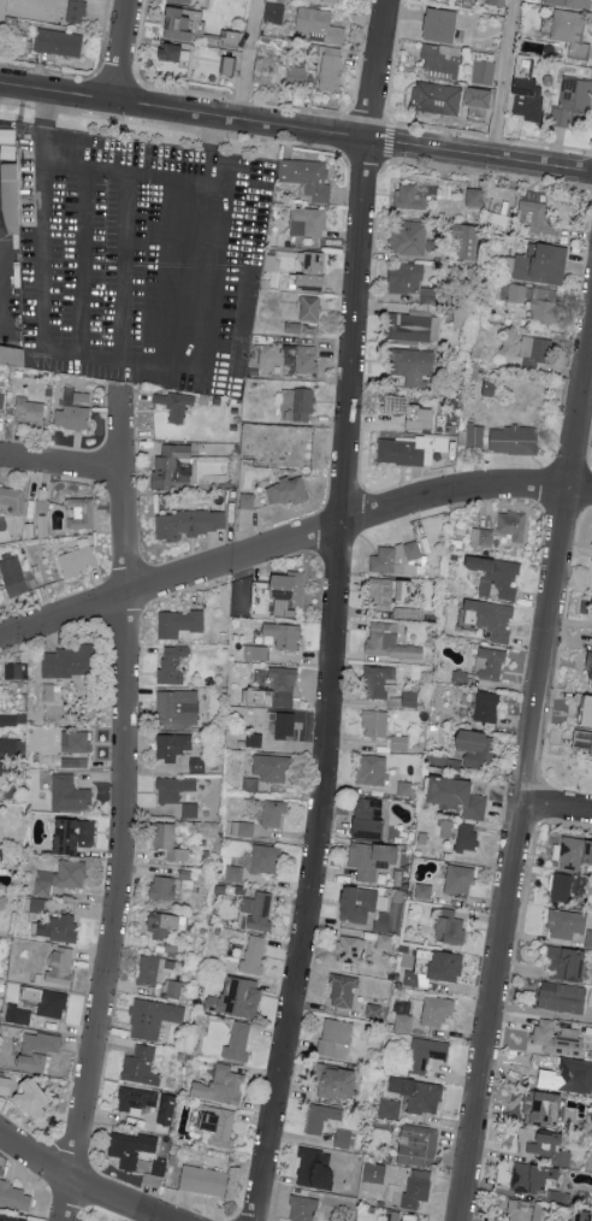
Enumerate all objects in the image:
building: (332, 0)
building: (184, 1)
building: (499, 2)
building: (572, 2)
building: (77, 11)
building: (274, 12)
building: (185, 23)
building: (320, 24)
building: (442, 24)
building: (570, 30)
building: (59, 42)
road: (120, 51)
building: (173, 53)
building: (268, 58)
road: (245, 60)
building: (440, 61)
building: (230, 65)
building: (331, 69)
building: (484, 72)
building: (267, 73)
building: (296, 77)
road: (504, 78)
building: (437, 98)
building: (528, 98)
building: (572, 100)
road: (257, 104)
road: (296, 128)
road: (431, 128)
road: (387, 142)
building: (307, 177)
building: (414, 195)
building: (475, 197)
building: (538, 218)
building: (308, 222)
road: (1, 230)
building: (409, 237)
building: (467, 241)
road: (4, 254)
road: (79, 260)
building: (541, 264)
road: (122, 266)
building: (312, 271)
building: (412, 282)
road: (0, 297)
building: (537, 301)
building: (310, 308)
building: (414, 328)
building: (302, 329)
building: (535, 352)
building: (13, 358)
building: (306, 359)
road: (167, 364)
building: (412, 365)
building: (1, 401)
building: (176, 405)
building: (304, 405)
building: (29, 412)
building: (410, 412)
building: (72, 418)
building: (472, 436)
building: (516, 440)
building: (409, 449)
road: (61, 466)
building: (173, 466)
building: (288, 491)
building: (13, 500)
building: (247, 501)
building: (82, 513)
building: (189, 524)
building: (502, 530)
road: (291, 542)
building: (78, 558)
building: (396, 559)
building: (13, 576)
building: (497, 577)
building: (279, 594)
road: (338, 612)
building: (492, 619)
building: (180, 623)
building: (284, 636)
building: (390, 642)
building: (69, 662)
building: (173, 662)
building: (491, 663)
building: (16, 671)
building: (590, 672)
building: (378, 682)
building: (284, 686)
building: (257, 697)
building: (178, 707)
building: (487, 707)
building: (590, 713)
building: (12, 720)
building: (374, 724)
building: (283, 726)
building: (584, 741)
building: (77, 742)
building: (399, 743)
building: (12, 747)
building: (173, 747)
building: (479, 749)
building: (76, 762)
building: (1, 767)
building: (273, 768)
building: (373, 769)
road: (525, 774)
building: (250, 784)
building: (174, 789)
building: (70, 794)
building: (460, 796)
road: (123, 807)
building: (190, 809)
road: (556, 812)
building: (273, 814)
building: (371, 820)
building: (243, 830)
building: (76, 836)
building: (467, 837)
building: (168, 844)
building: (574, 854)
building: (1, 855)
building: (266, 859)
building: (373, 859)
building: (235, 874)
building: (61, 878)
building: (458, 879)
building: (168, 886)
building: (563, 887)
building: (360, 904)
building: (36, 909)
building: (259, 910)
building: (567, 924)
building: (451, 927)
building: (63, 928)
building: (588, 939)
building: (349, 950)
building: (254, 956)
building: (567, 963)
building: (61, 965)
building: (448, 967)
building: (173, 989)
building: (343, 991)
building: (563, 997)
building: (237, 998)
building: (437, 1011)
building: (153, 1017)
building: (456, 1032)
building: (337, 1038)
building: (557, 1038)
building: (238, 1043)
building: (39, 1051)
building: (426, 1054)
building: (141, 1067)
building: (575, 1077)
building: (5, 1086)
building: (221, 1086)
building: (420, 1095)
building: (36, 1097)
building: (136, 1098)
building: (390, 1108)
building: (167, 1109)
building: (546, 1109)
building: (324, 1117)
building: (591, 1120)
building: (221, 1127)
building: (343, 1138)
building: (541, 1143)
building: (419, 1145)
building: (131, 1149)
building: (160, 1167)
building: (316, 1169)
building: (375, 1173)
building: (533, 1179)
building: (205, 1180)
road: (77, 1181)
building: (416, 1190)
building: (14, 1196)
building: (303, 1209)
building: (525, 1210)
building: (389, 1216)
building: (585, 1216)
building: (16, 1217)
building: (0, 1220)

